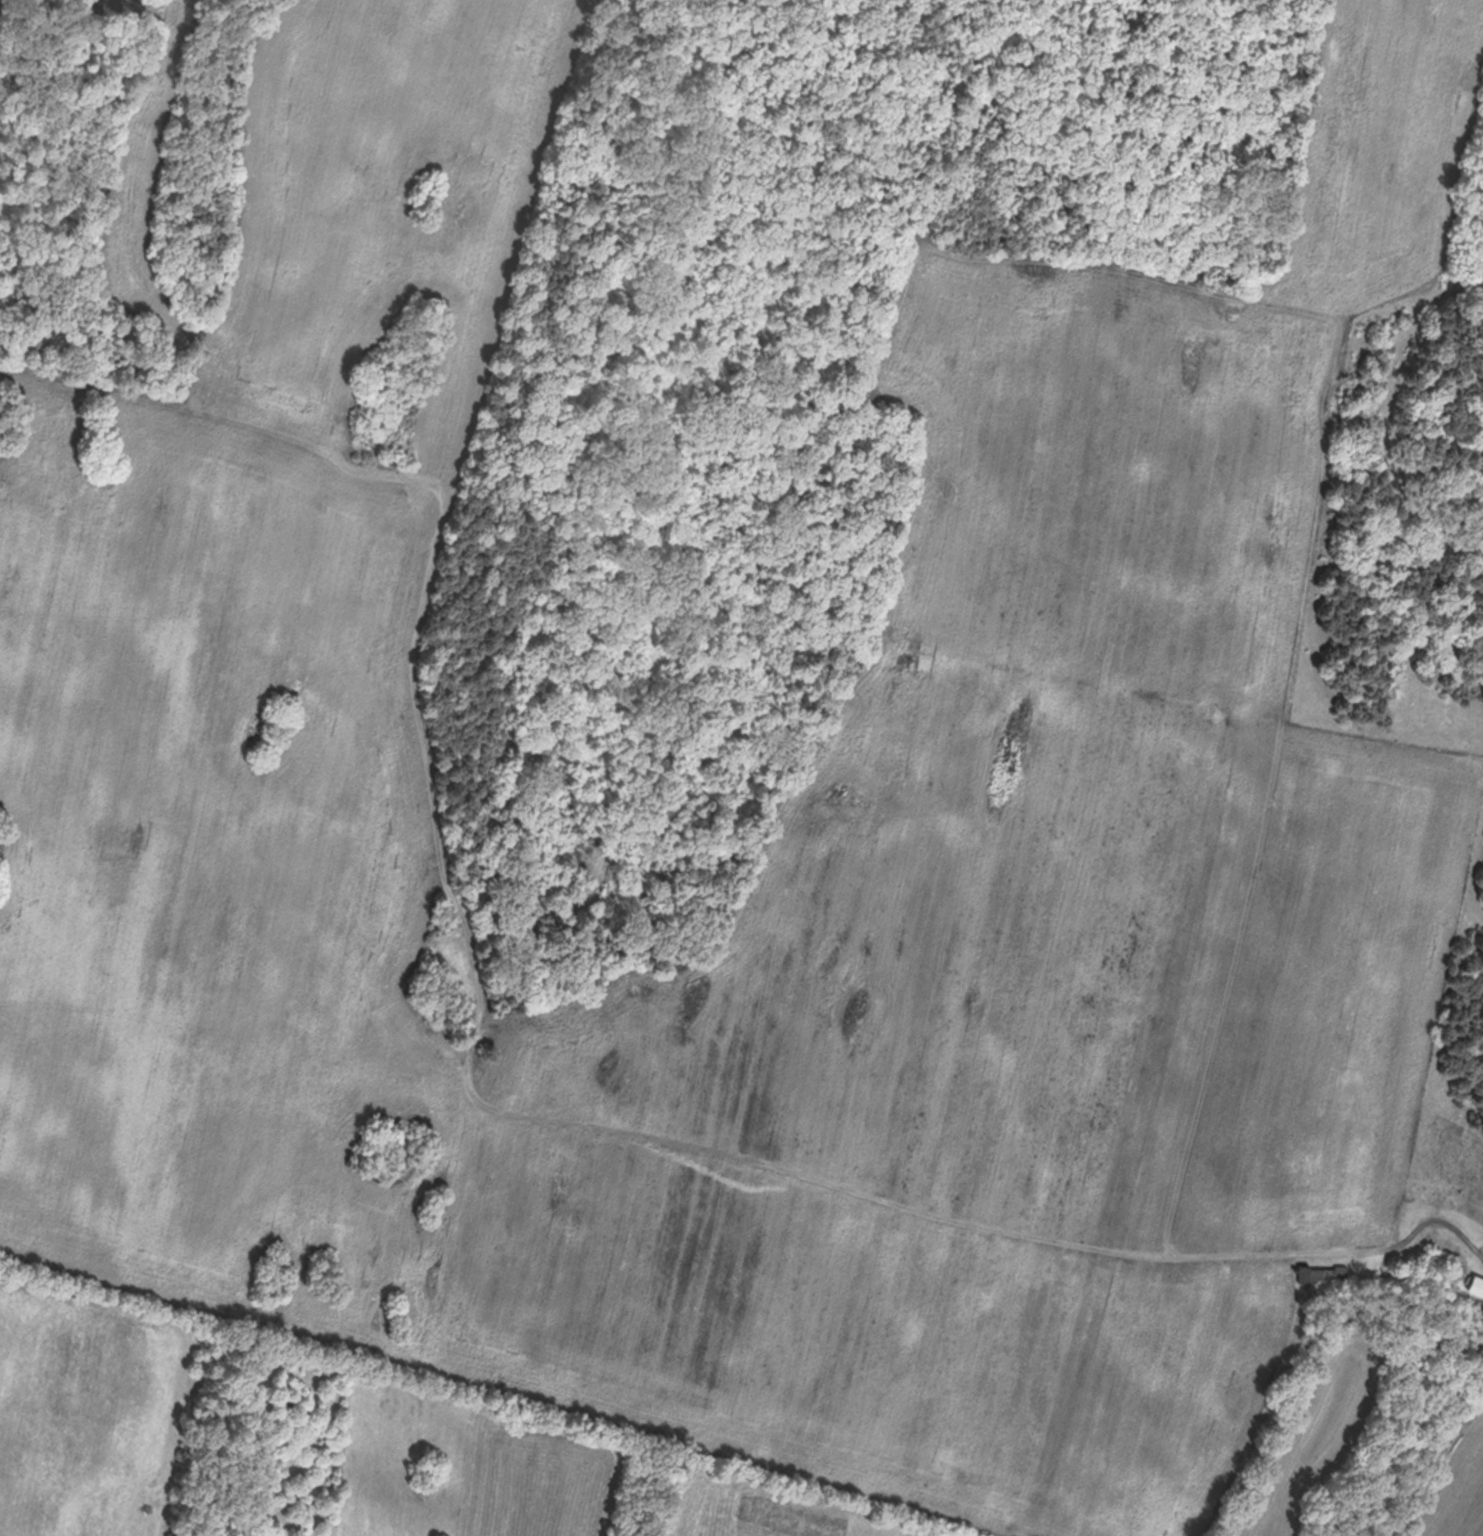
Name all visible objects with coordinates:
road: (1436, 1221)
building: (1316, 1275)
building: (278, 1401)

